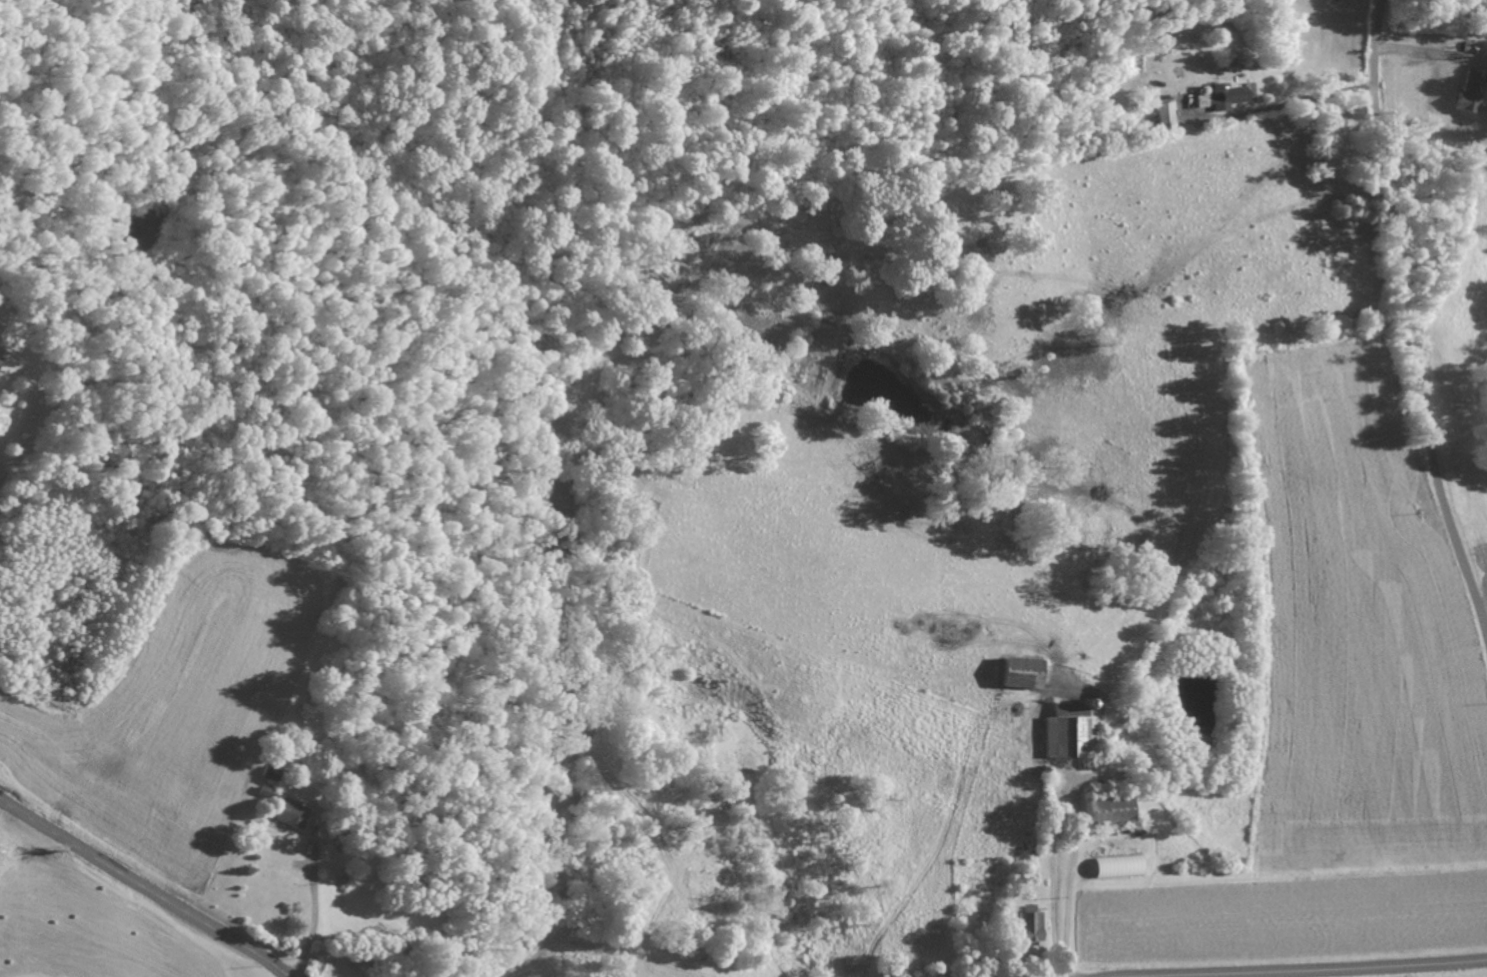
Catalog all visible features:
road: (1426, 55)
building: (1469, 91)
building: (1222, 96)
building: (1164, 112)
road: (1401, 325)
crop: (1477, 574)
building: (1023, 672)
building: (1067, 731)
building: (264, 792)
building: (1109, 810)
building: (290, 814)
road: (143, 887)
building: (1029, 925)
road: (1326, 971)

